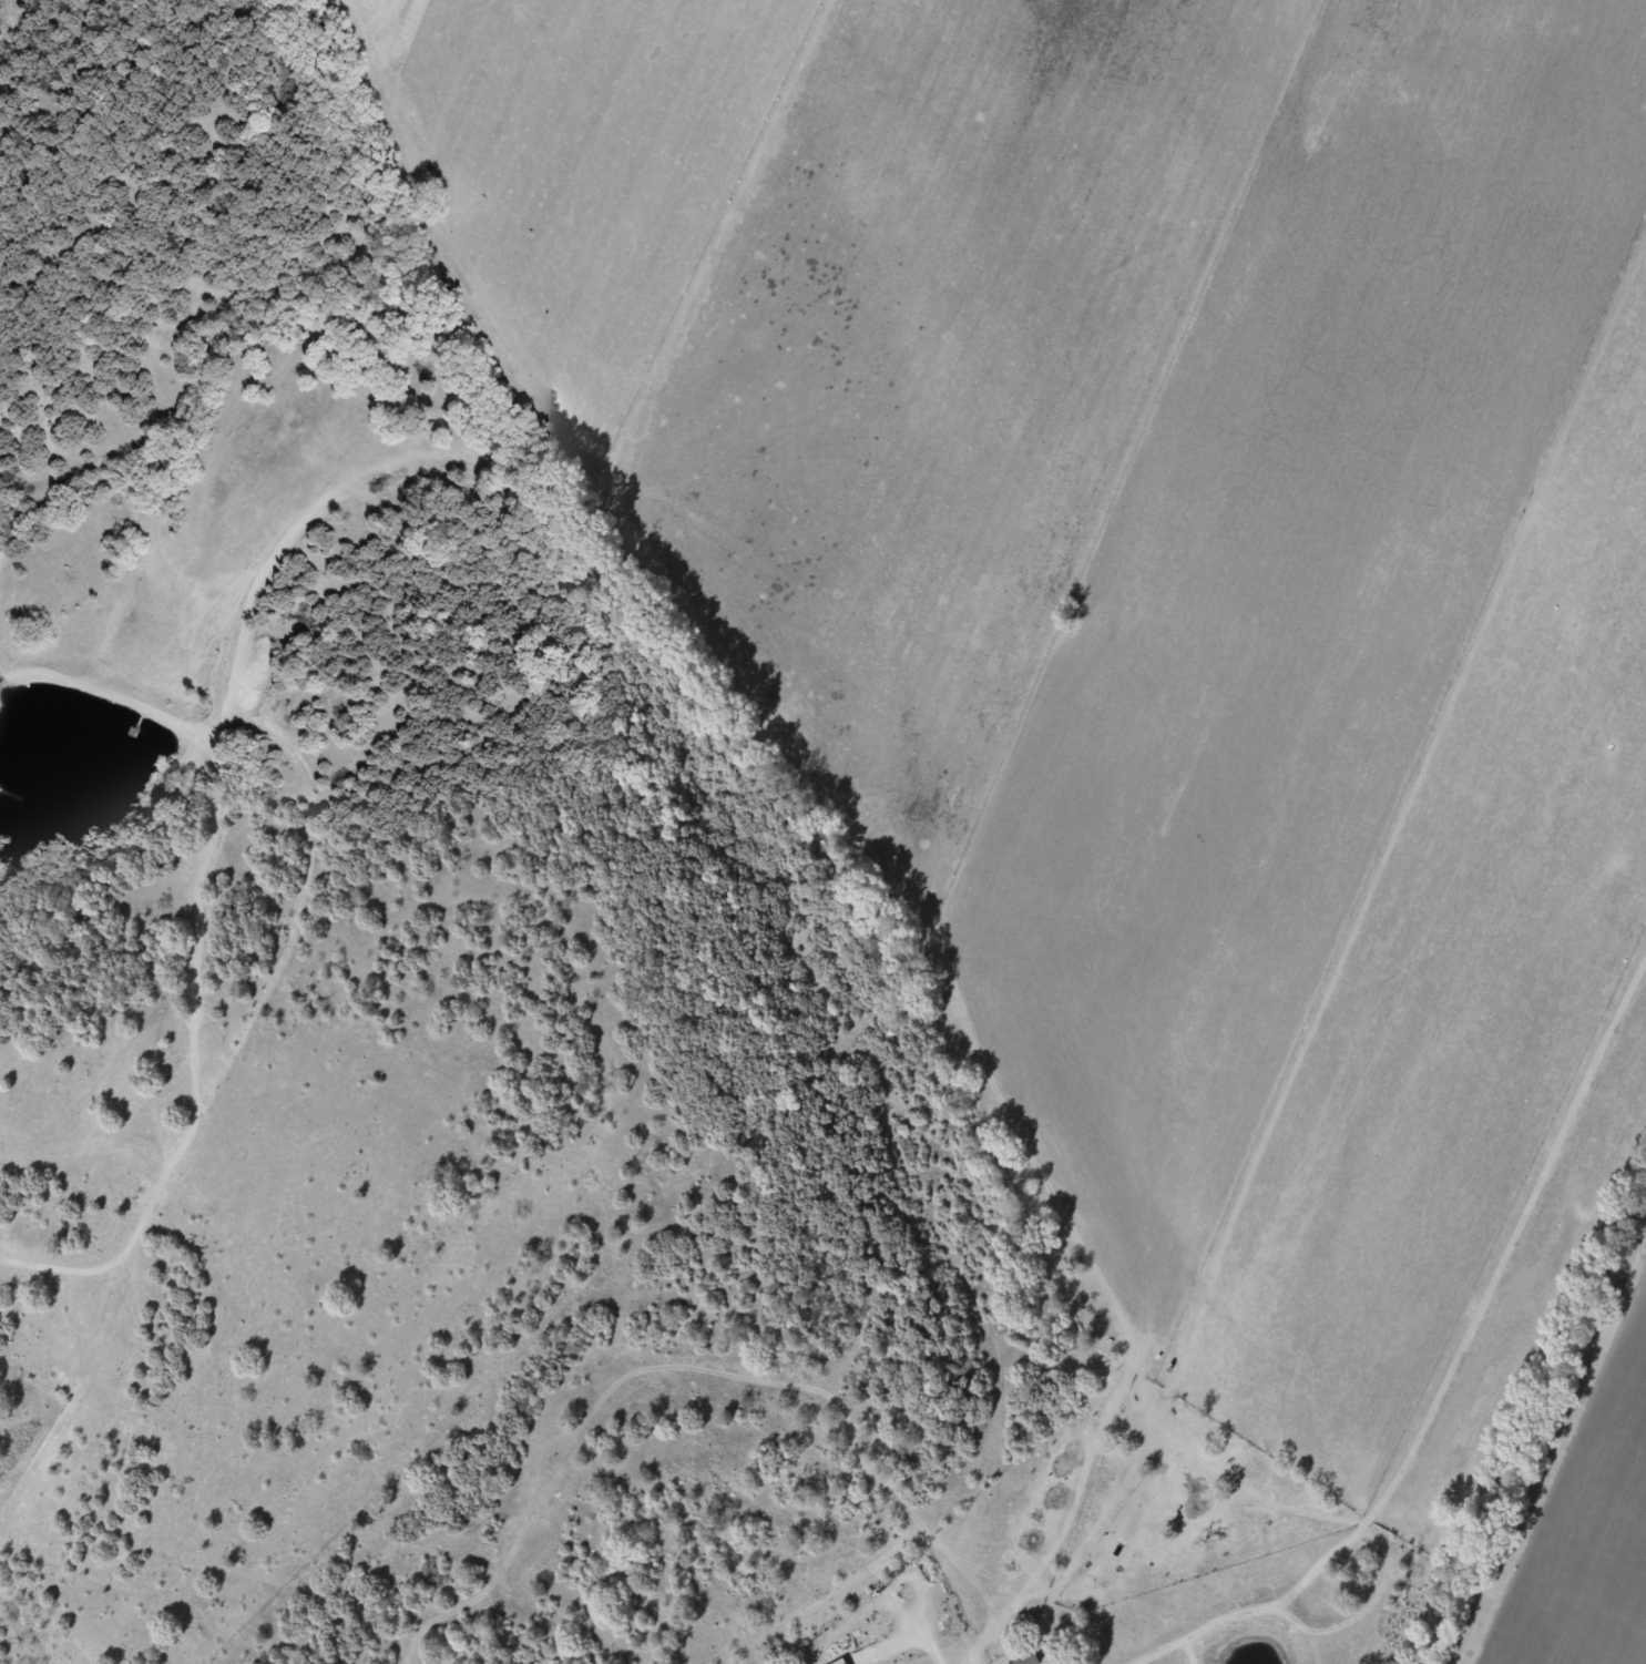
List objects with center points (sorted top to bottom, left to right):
building: (1028, 1660)

